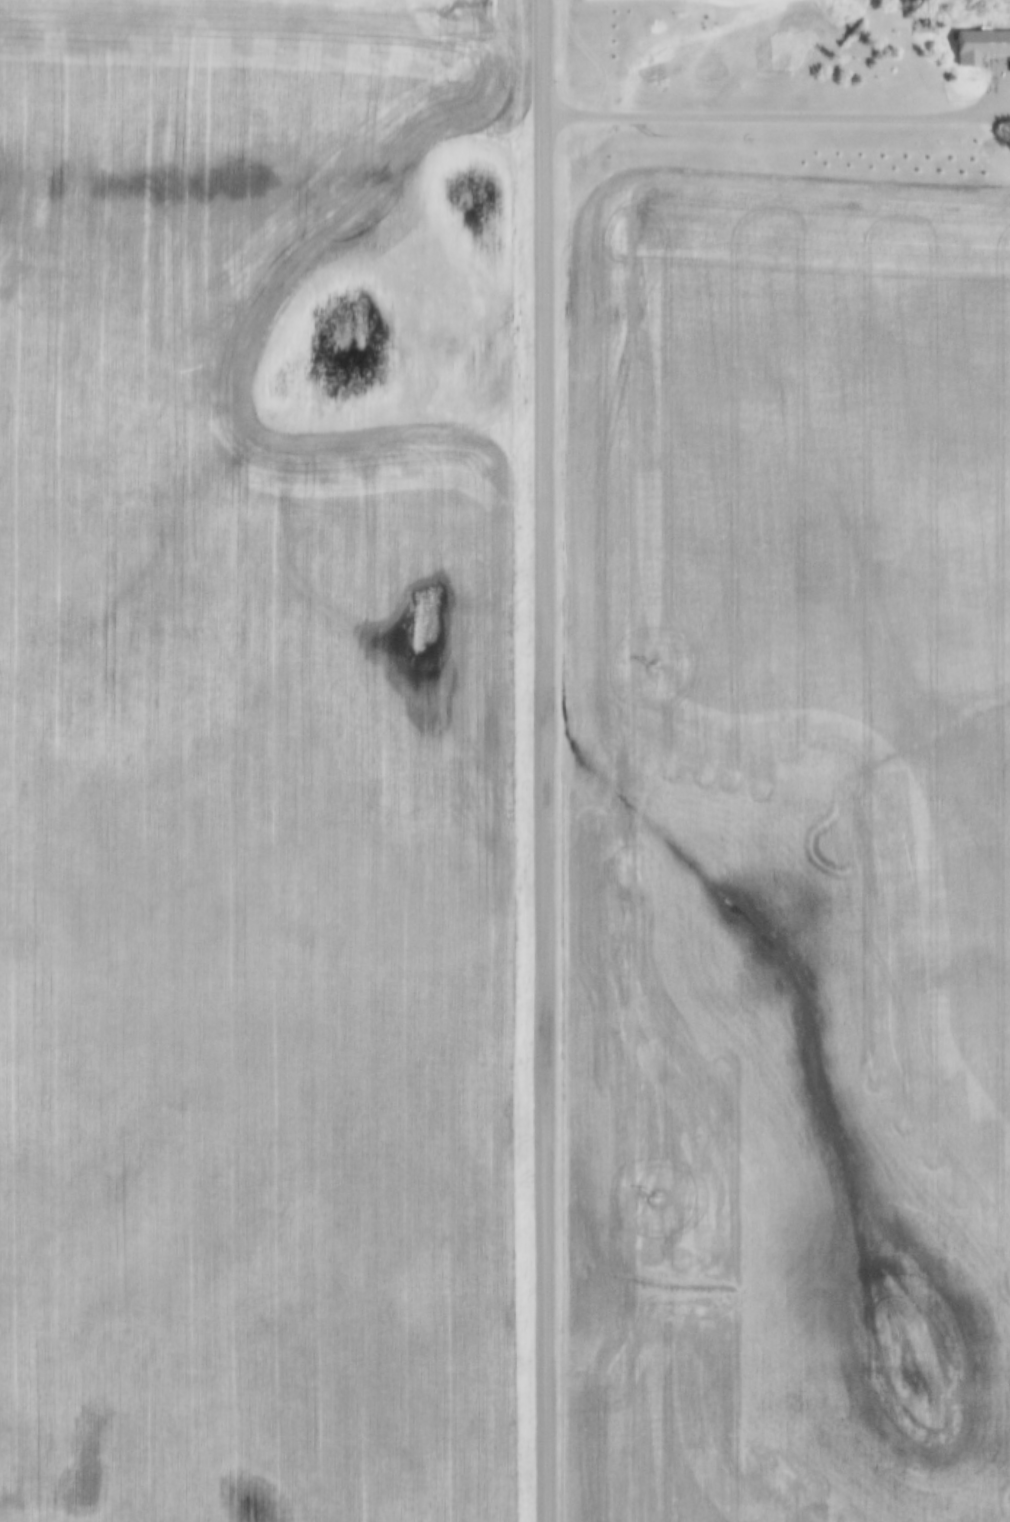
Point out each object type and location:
building: (976, 45)
road: (779, 121)
power tower: (651, 135)
power tower: (653, 665)
road: (544, 760)
power tower: (654, 1196)

